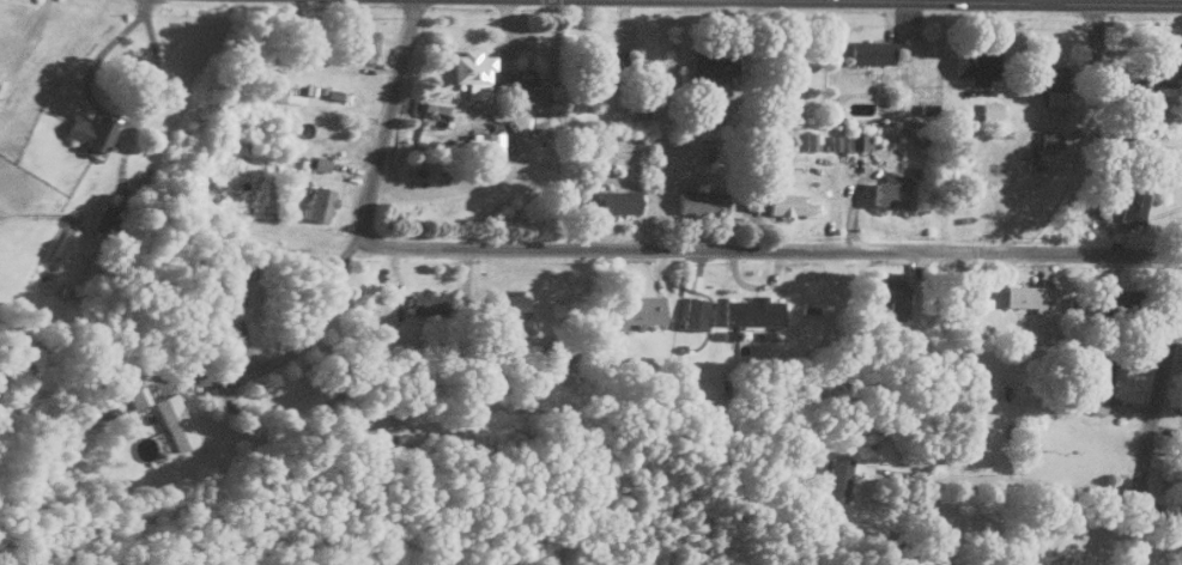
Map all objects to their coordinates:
road: (1042, 1)
road: (143, 2)
road: (954, 2)
building: (363, 43)
building: (869, 51)
building: (606, 61)
building: (972, 66)
building: (471, 72)
building: (1154, 72)
building: (519, 77)
building: (1045, 79)
building: (988, 109)
road: (110, 115)
road: (383, 123)
building: (86, 134)
building: (775, 136)
building: (856, 138)
building: (1048, 138)
building: (808, 139)
building: (489, 144)
building: (315, 163)
building: (887, 189)
building: (617, 199)
building: (699, 200)
building: (1131, 201)
building: (784, 202)
building: (317, 203)
building: (101, 221)
building: (62, 241)
road: (768, 250)
building: (891, 294)
building: (1026, 294)
building: (1119, 296)
building: (511, 300)
building: (424, 302)
building: (638, 309)
building: (692, 311)
road: (291, 352)
building: (1098, 372)
building: (127, 396)
road: (1150, 406)
building: (105, 411)
building: (171, 420)
road: (965, 476)
building: (835, 479)
road: (1175, 537)

